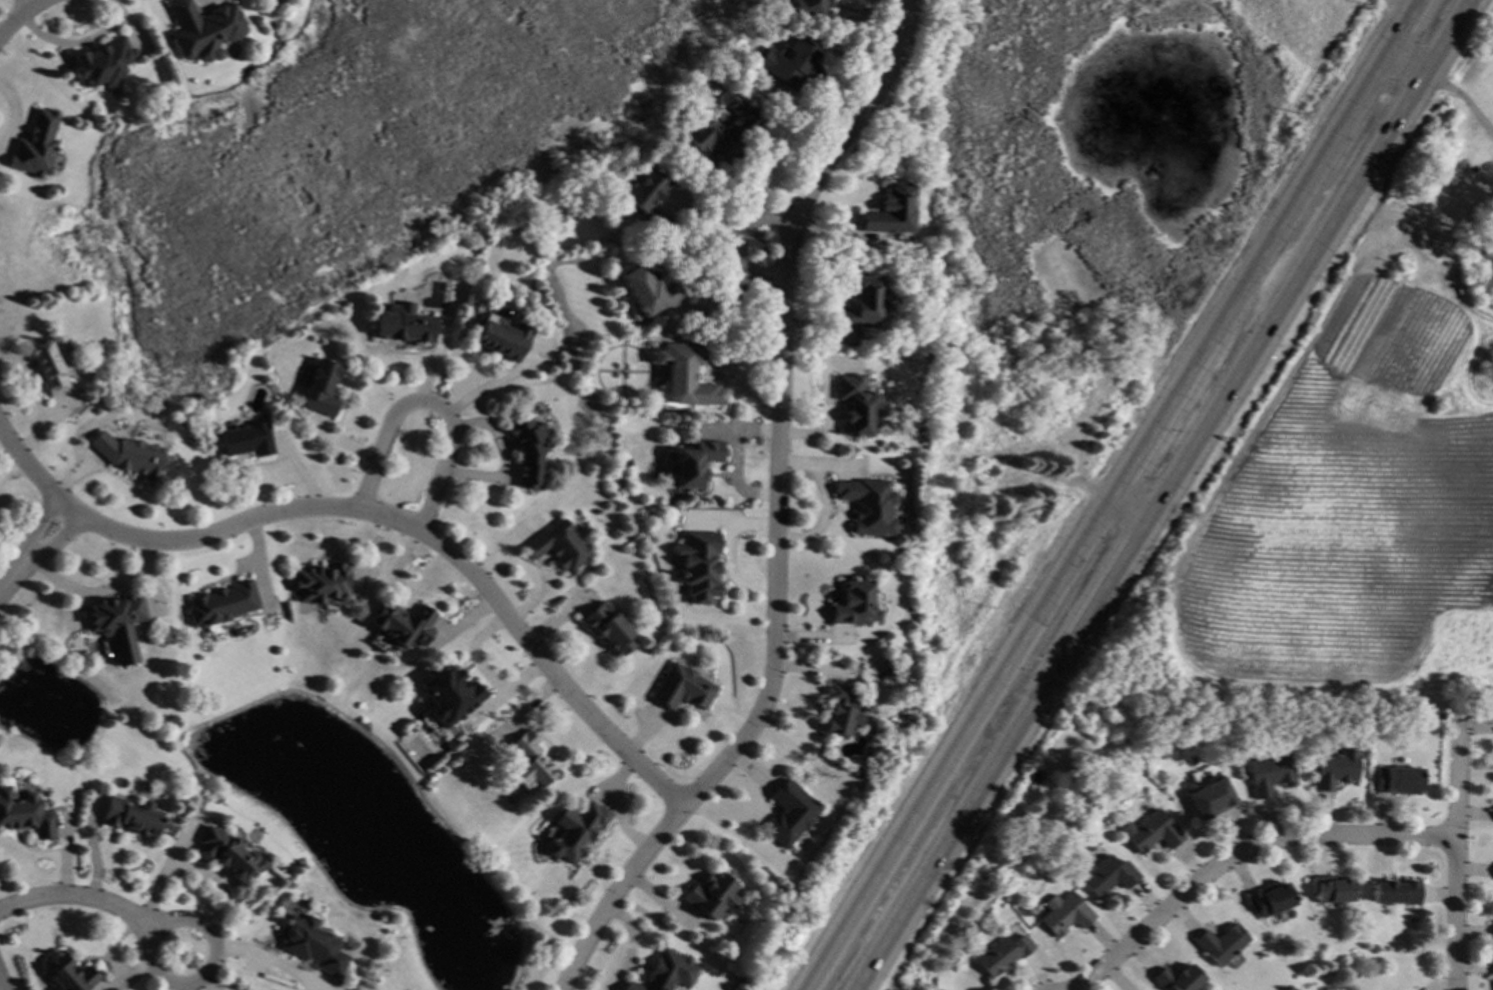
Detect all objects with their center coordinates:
crop: (1394, 1)
road: (27, 5)
building: (809, 8)
road: (22, 17)
road: (1397, 22)
building: (203, 29)
road: (1443, 35)
road: (1402, 57)
building: (100, 62)
building: (790, 63)
crop: (1477, 66)
road: (1459, 101)
building: (722, 131)
building: (35, 145)
building: (645, 198)
building: (891, 211)
road: (736, 243)
building: (649, 291)
building: (860, 305)
building: (404, 323)
building: (502, 336)
road: (1191, 350)
building: (48, 366)
building: (685, 373)
road: (1231, 373)
road: (498, 383)
building: (322, 388)
road: (779, 402)
road: (432, 403)
building: (853, 403)
building: (246, 439)
building: (528, 451)
building: (131, 456)
building: (694, 462)
road: (735, 463)
crop: (1347, 497)
building: (867, 504)
road: (1120, 508)
road: (377, 514)
building: (558, 545)
road: (30, 551)
building: (698, 564)
building: (321, 582)
road: (94, 591)
building: (854, 602)
building: (220, 604)
building: (401, 623)
building: (116, 624)
building: (608, 628)
building: (682, 688)
building: (448, 693)
building: (840, 708)
building: (528, 762)
building: (1334, 769)
building: (1270, 774)
building: (1399, 780)
building: (1209, 797)
building: (790, 812)
building: (24, 813)
building: (130, 816)
road: (902, 825)
building: (574, 830)
building: (1150, 832)
road: (948, 834)
road: (1245, 852)
building: (227, 853)
road: (1454, 853)
building: (1108, 875)
building: (1330, 889)
building: (1396, 892)
road: (617, 894)
building: (710, 895)
road: (81, 897)
building: (1270, 899)
building: (1024, 911)
building: (1066, 914)
building: (1221, 943)
building: (310, 944)
building: (1003, 954)
road: (153, 966)
building: (67, 972)
building: (665, 972)
building: (1177, 978)
road: (1, 986)

